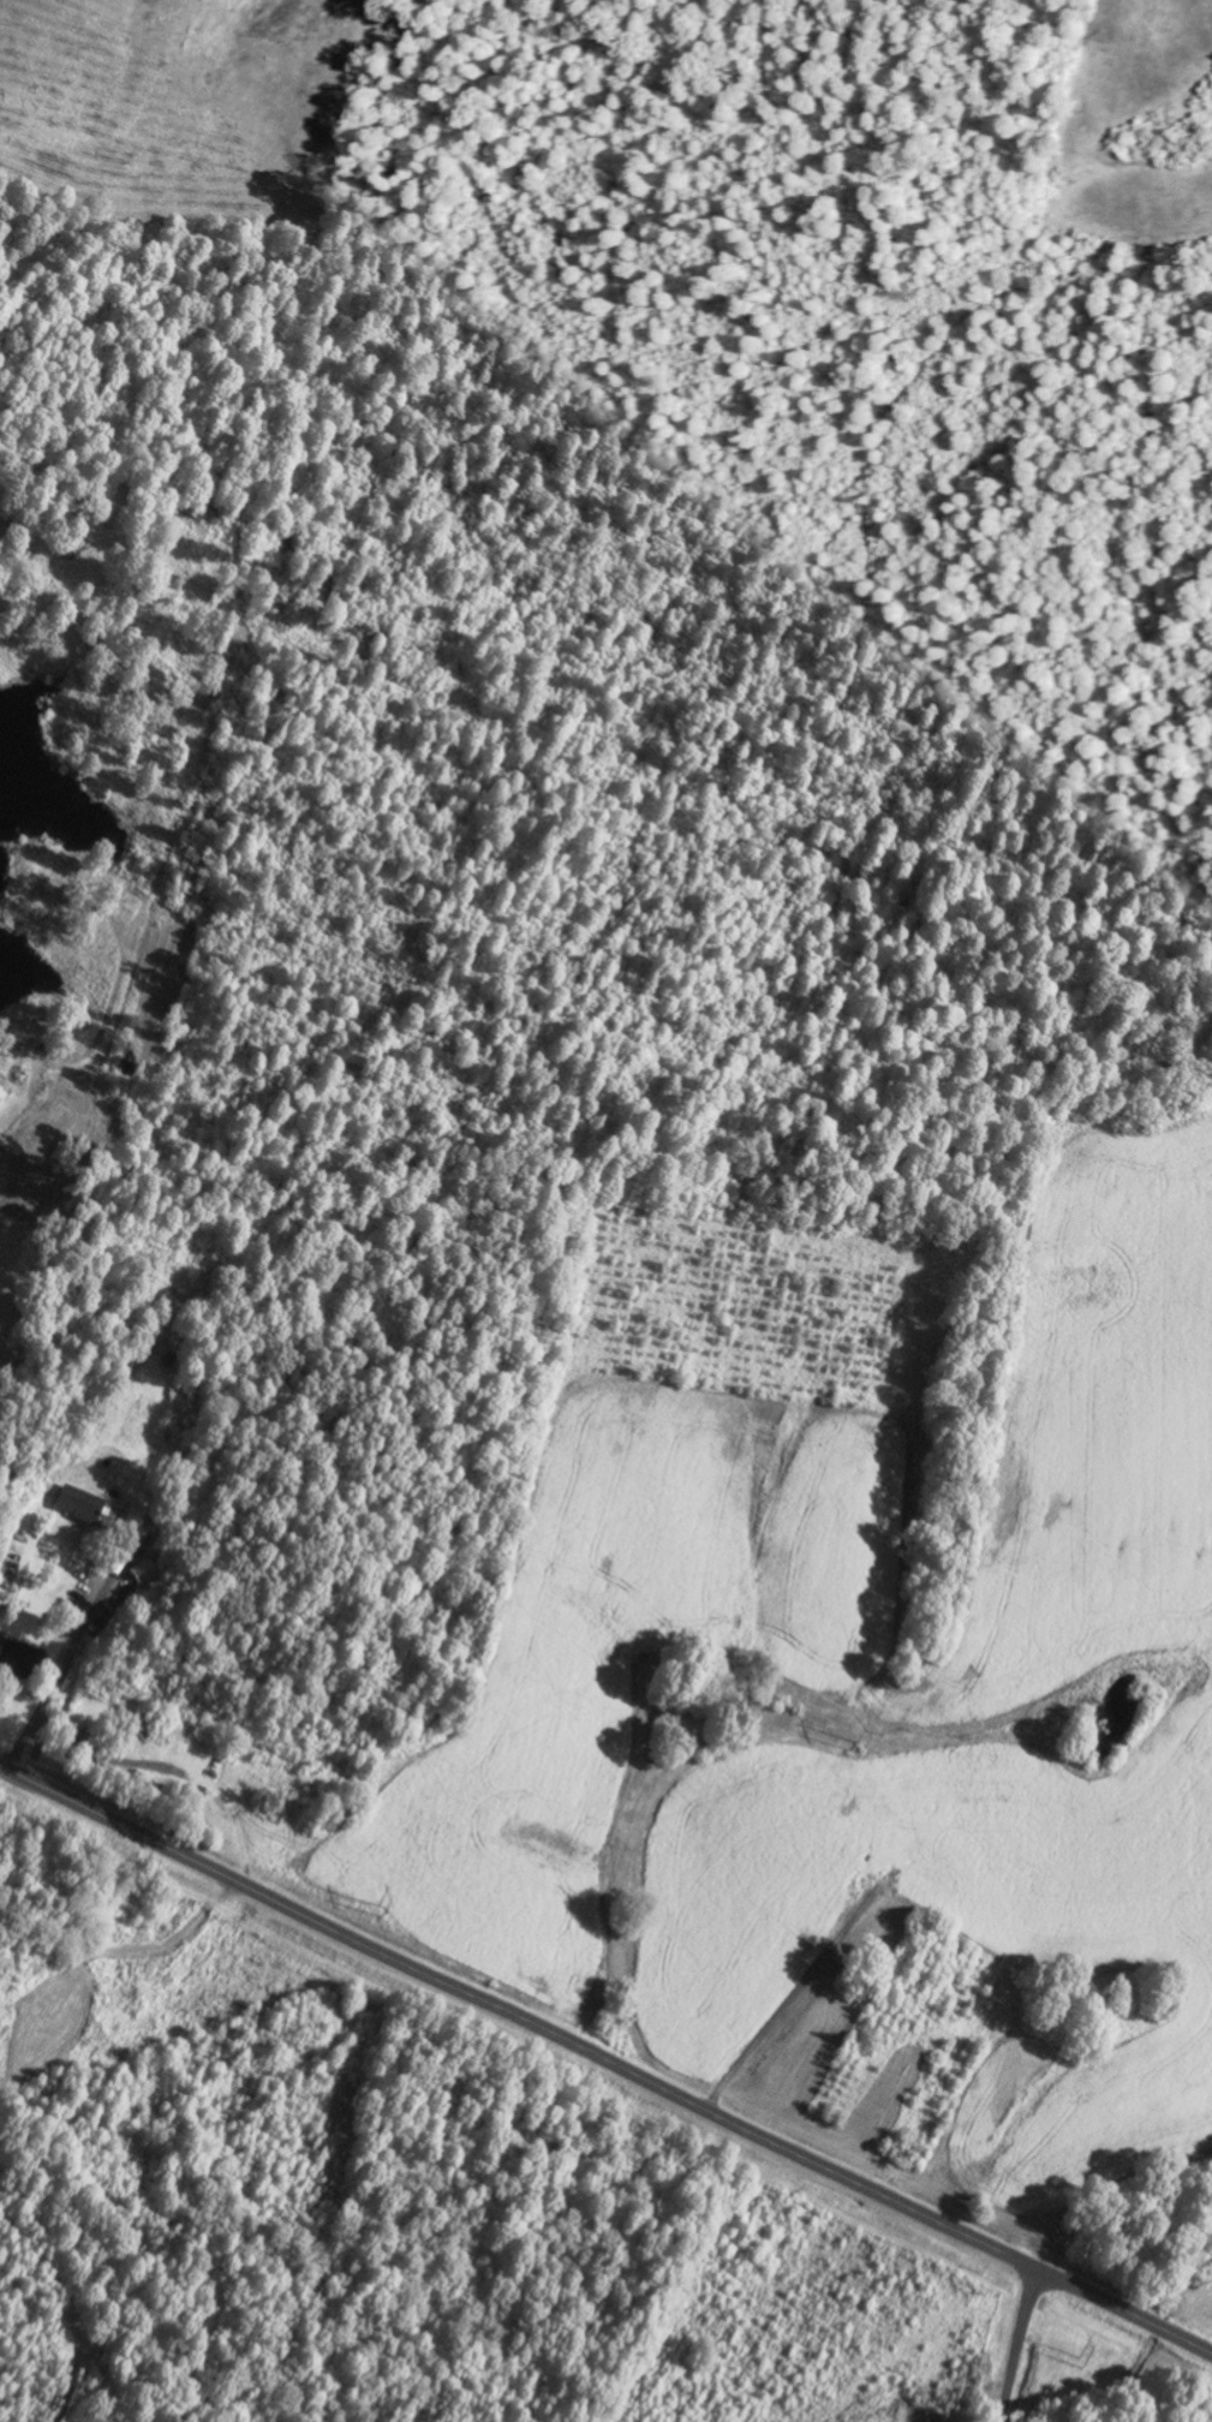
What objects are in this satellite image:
building: (79, 1508)
road: (604, 2063)
road: (1014, 2345)

